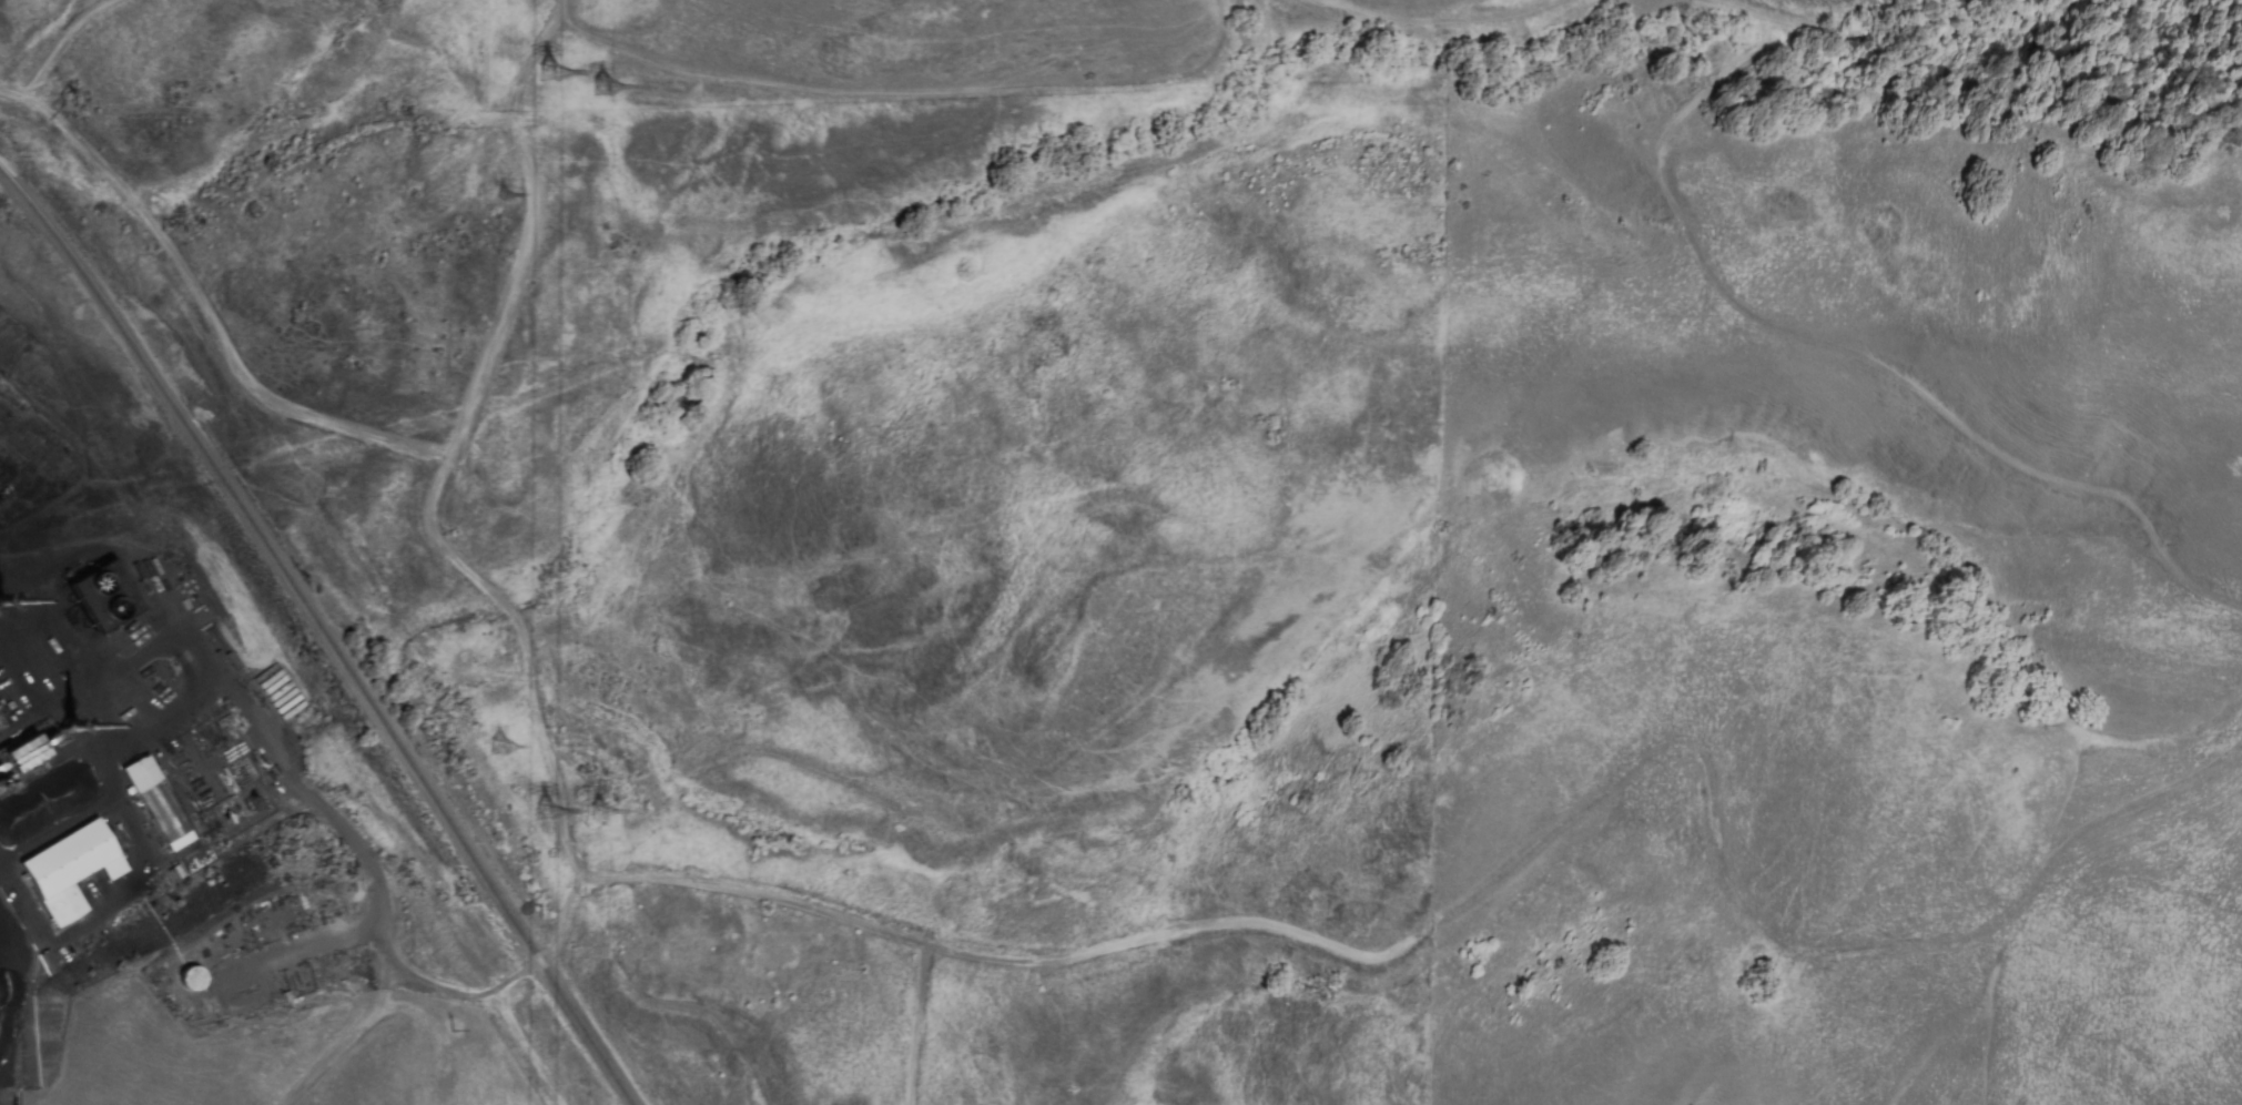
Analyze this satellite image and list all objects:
road: (396, 32)
road: (529, 62)
power tower: (552, 63)
power tower: (607, 87)
power tower: (504, 194)
road: (173, 255)
road: (433, 500)
railway: (326, 632)
power tower: (507, 743)
building: (20, 754)
road: (1708, 760)
road: (112, 766)
building: (158, 802)
power tower: (549, 802)
power substation: (242, 809)
power tower: (602, 811)
building: (69, 870)
road: (559, 930)

